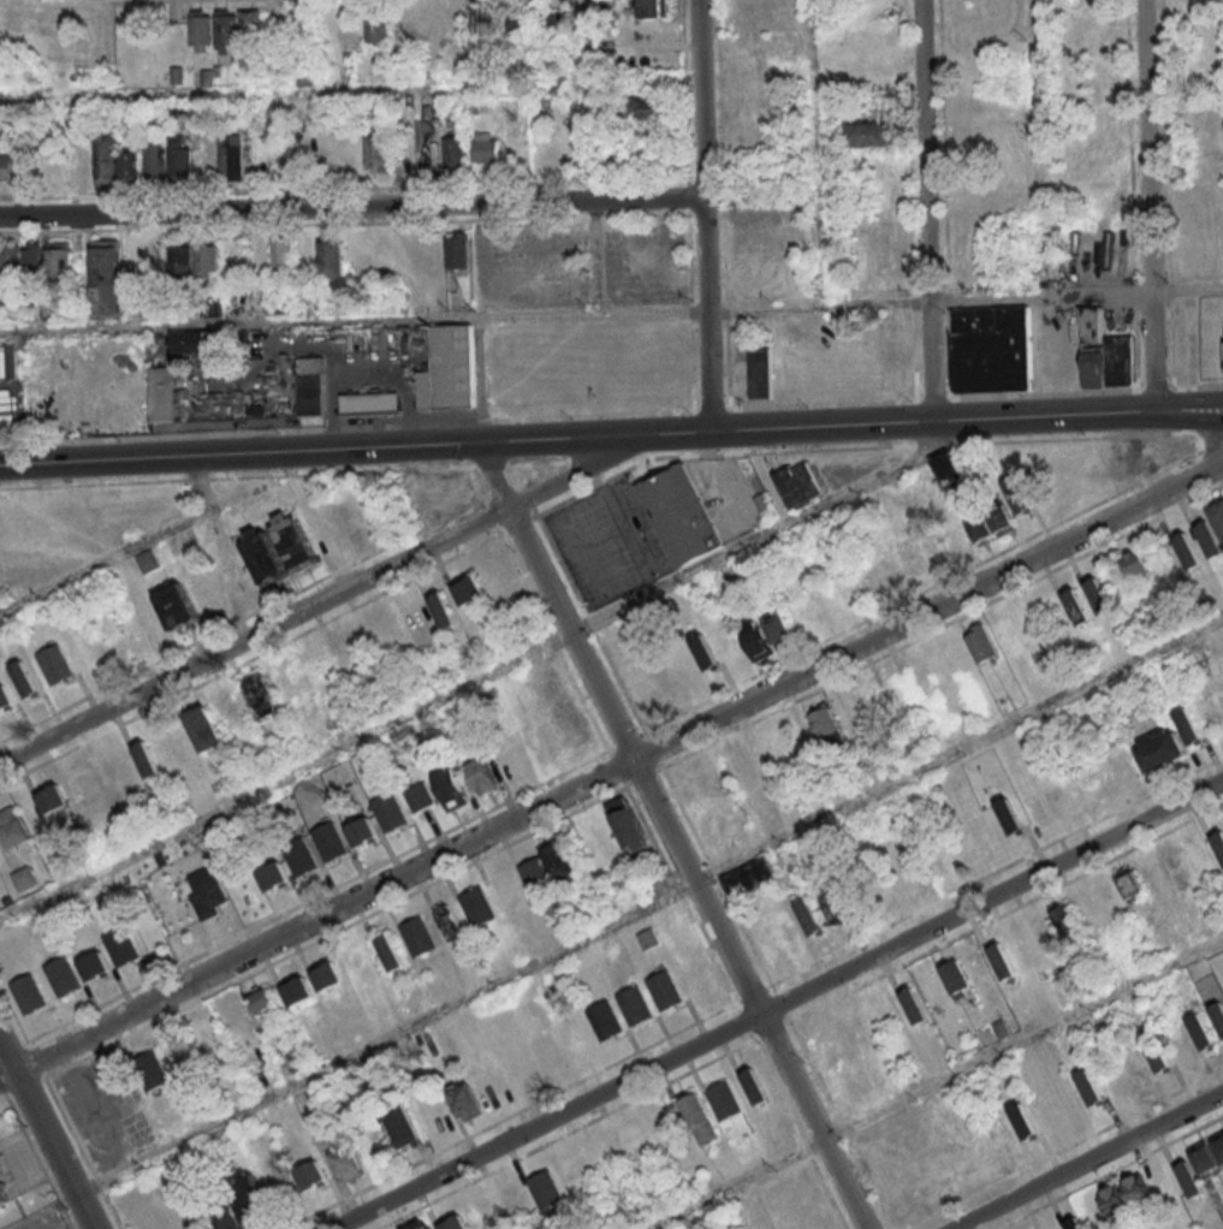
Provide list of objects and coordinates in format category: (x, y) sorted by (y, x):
building: (652, 8)
building: (483, 20)
building: (556, 23)
building: (376, 25)
building: (302, 26)
building: (239, 28)
building: (202, 30)
building: (645, 108)
building: (566, 129)
building: (869, 132)
building: (485, 146)
road: (1035, 148)
building: (379, 153)
building: (453, 153)
road: (814, 153)
building: (232, 158)
building: (107, 159)
building: (168, 159)
building: (130, 165)
building: (7, 167)
building: (85, 167)
road: (351, 208)
road: (1147, 208)
road: (925, 210)
road: (703, 215)
building: (759, 238)
building: (456, 250)
building: (283, 254)
building: (59, 257)
building: (332, 257)
building: (183, 259)
building: (209, 259)
building: (20, 263)
building: (106, 277)
road: (1186, 289)
road: (575, 314)
building: (195, 342)
building: (993, 349)
building: (1103, 352)
building: (451, 370)
building: (762, 373)
building: (311, 386)
building: (161, 393)
building: (11, 400)
building: (369, 403)
road: (968, 420)
road: (683, 433)
road: (326, 449)
road: (611, 458)
building: (948, 468)
road: (582, 469)
building: (796, 485)
building: (1019, 495)
building: (677, 515)
building: (1217, 516)
building: (1001, 518)
building: (979, 528)
building: (1209, 539)
building: (957, 540)
parking lot: (605, 544)
building: (278, 547)
road: (131, 548)
building: (1186, 550)
building: (147, 559)
building: (912, 560)
building: (1135, 563)
building: (468, 589)
building: (1097, 595)
road: (553, 601)
building: (176, 606)
building: (1075, 606)
building: (440, 610)
road: (930, 611)
building: (778, 628)
road: (256, 634)
building: (1008, 634)
building: (755, 640)
building: (980, 642)
building: (703, 651)
building: (55, 664)
building: (24, 678)
road: (476, 678)
building: (260, 691)
building: (6, 696)
building: (823, 719)
building: (1188, 724)
building: (203, 726)
building: (570, 726)
building: (1159, 749)
building: (146, 758)
building: (480, 776)
building: (449, 788)
building: (418, 796)
building: (52, 798)
building: (388, 811)
building: (1009, 815)
building: (627, 824)
building: (12, 827)
building: (361, 830)
building: (330, 841)
building: (1218, 842)
building: (301, 856)
building: (550, 868)
building: (1180, 871)
building: (272, 874)
building: (748, 877)
building: (23, 878)
building: (1130, 883)
building: (504, 886)
building: (206, 891)
road: (648, 903)
building: (476, 906)
building: (835, 908)
road: (317, 915)
building: (808, 916)
building: (1065, 919)
building: (449, 922)
building: (418, 936)
building: (647, 938)
building: (121, 945)
building: (390, 951)
building: (1002, 961)
building: (94, 964)
building: (63, 975)
building: (327, 975)
building: (954, 978)
building: (664, 988)
building: (297, 990)
building: (28, 993)
road: (749, 995)
building: (262, 999)
road: (776, 1002)
building: (634, 1004)
building: (913, 1004)
building: (1217, 1014)
building: (604, 1019)
building: (1200, 1031)
building: (1157, 1053)
building: (150, 1070)
road: (931, 1081)
building: (754, 1086)
building: (1090, 1087)
building: (723, 1099)
building: (465, 1100)
building: (697, 1116)
building: (1023, 1122)
building: (404, 1126)
road: (46, 1136)
building: (1218, 1144)
building: (1203, 1157)
road: (1087, 1160)
building: (348, 1164)
building: (310, 1174)
building: (1188, 1178)
building: (1136, 1188)
building: (545, 1189)
building: (249, 1194)
building: (2, 1197)
building: (1114, 1200)
building: (226, 1218)
building: (1071, 1223)
building: (421, 1224)

